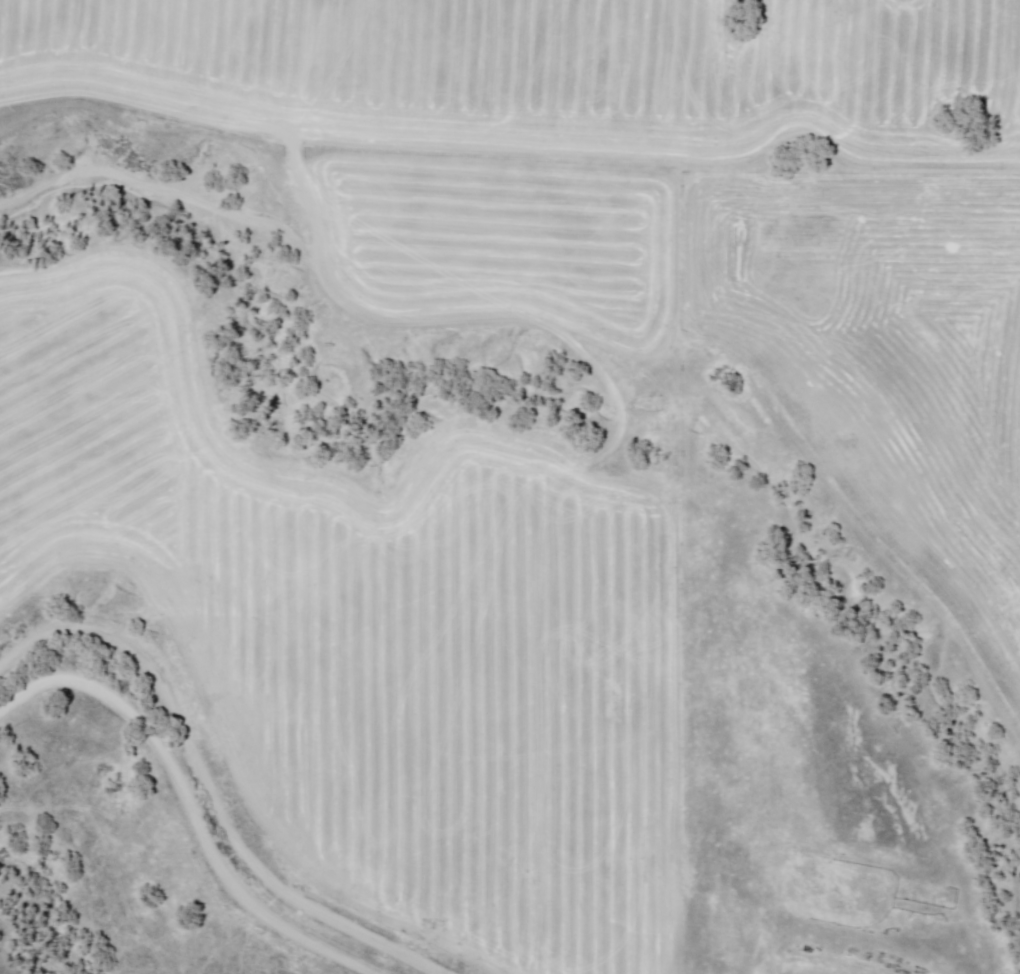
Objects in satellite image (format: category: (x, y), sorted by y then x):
crop: (519, 124)
road: (205, 790)
road: (185, 807)

